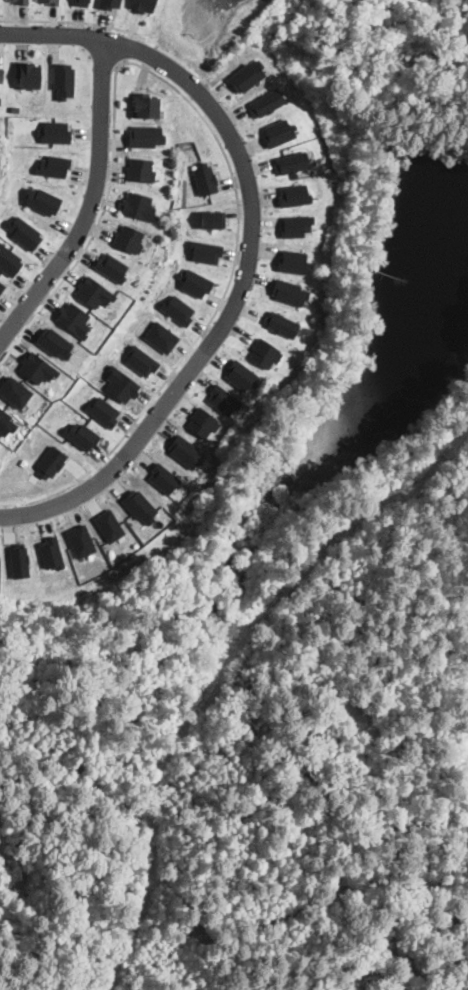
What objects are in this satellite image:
building: (22, 1)
building: (53, 1)
building: (81, 2)
building: (107, 3)
building: (143, 5)
road: (73, 19)
road: (126, 45)
building: (1, 74)
building: (28, 74)
building: (247, 75)
building: (63, 79)
building: (0, 98)
road: (190, 102)
building: (266, 102)
building: (145, 104)
building: (54, 131)
building: (278, 132)
building: (145, 135)
building: (292, 161)
building: (53, 165)
building: (140, 169)
building: (205, 178)
building: (294, 194)
building: (42, 200)
road: (90, 203)
building: (138, 205)
building: (213, 218)
building: (296, 225)
building: (24, 231)
building: (128, 238)
road: (250, 249)
building: (206, 250)
building: (9, 259)
building: (293, 261)
building: (111, 266)
building: (195, 282)
building: (2, 285)
building: (93, 291)
building: (289, 291)
building: (178, 309)
building: (73, 318)
building: (281, 323)
building: (161, 336)
building: (54, 342)
building: (265, 352)
building: (141, 359)
building: (36, 366)
building: (241, 375)
building: (120, 383)
building: (15, 390)
building: (222, 399)
building: (103, 410)
building: (201, 421)
building: (6, 422)
building: (81, 434)
building: (185, 451)
building: (51, 461)
building: (164, 477)
building: (139, 505)
building: (109, 524)
building: (80, 540)
building: (50, 551)
building: (18, 560)
building: (68, 701)

